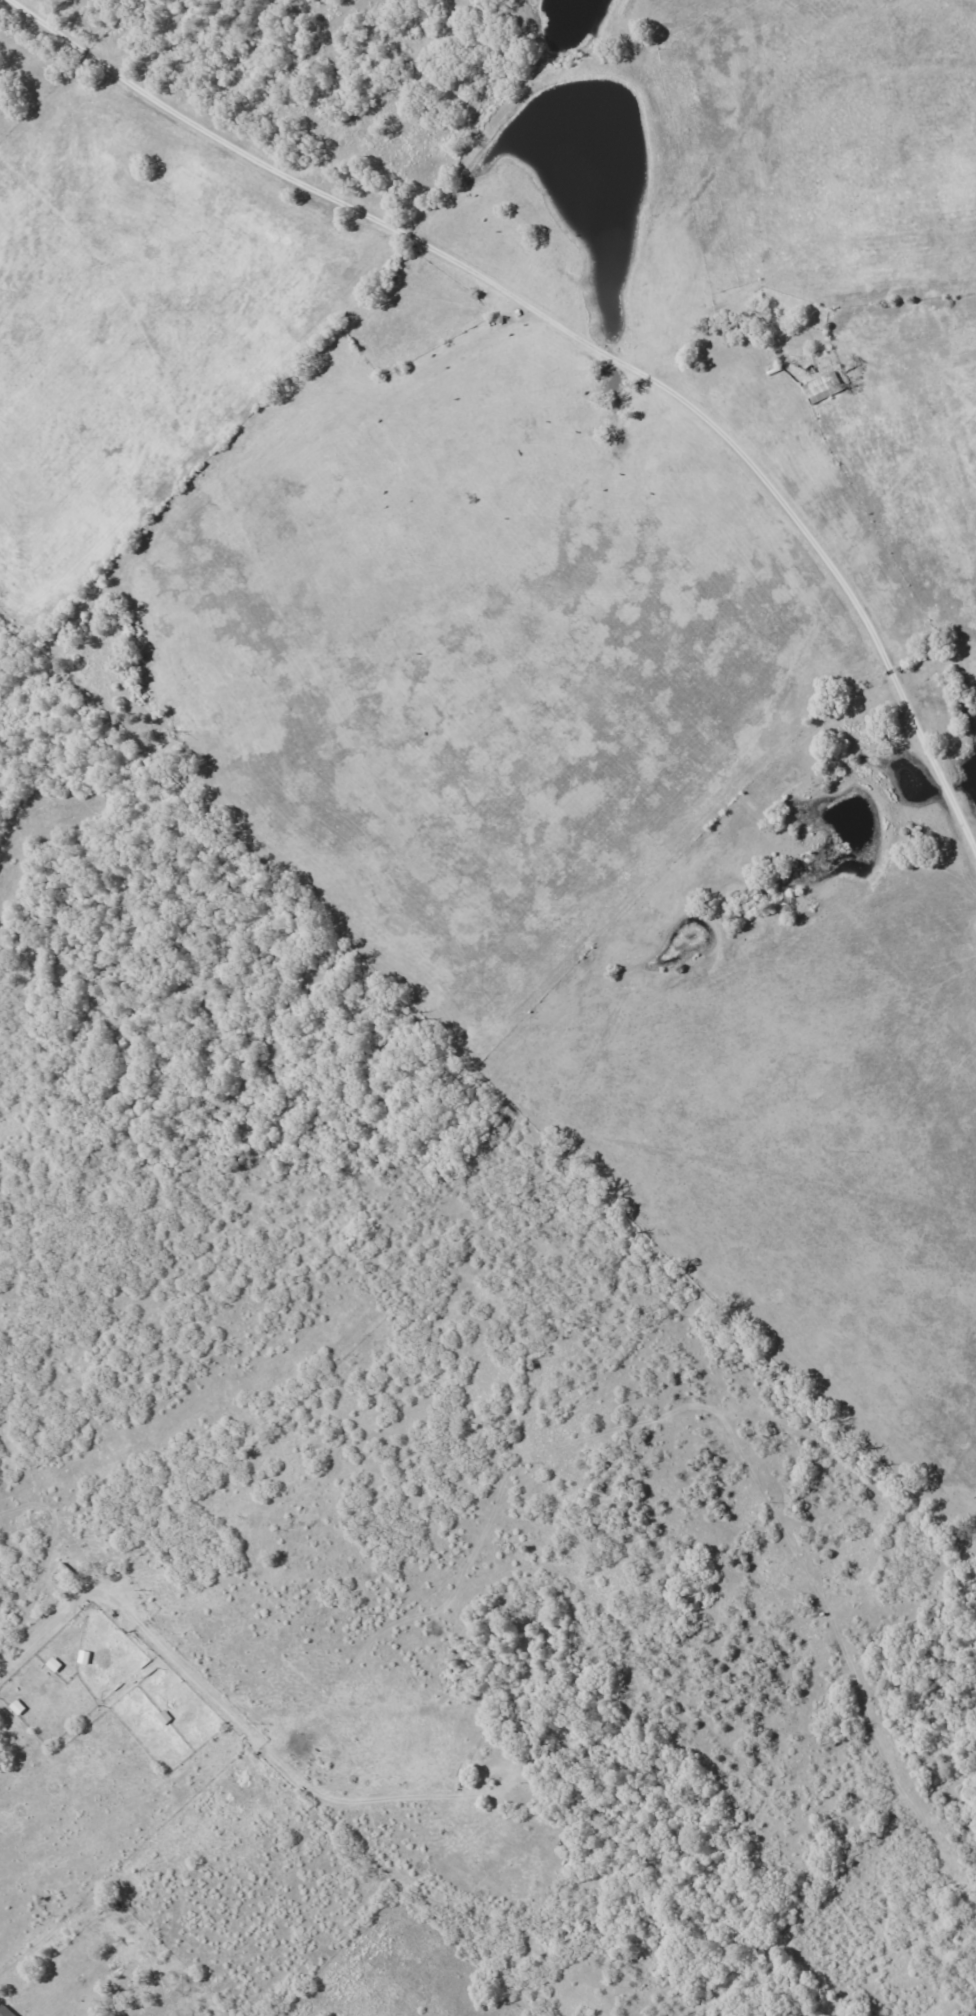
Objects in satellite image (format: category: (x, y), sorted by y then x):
building: (85, 1658)
building: (6, 2012)

